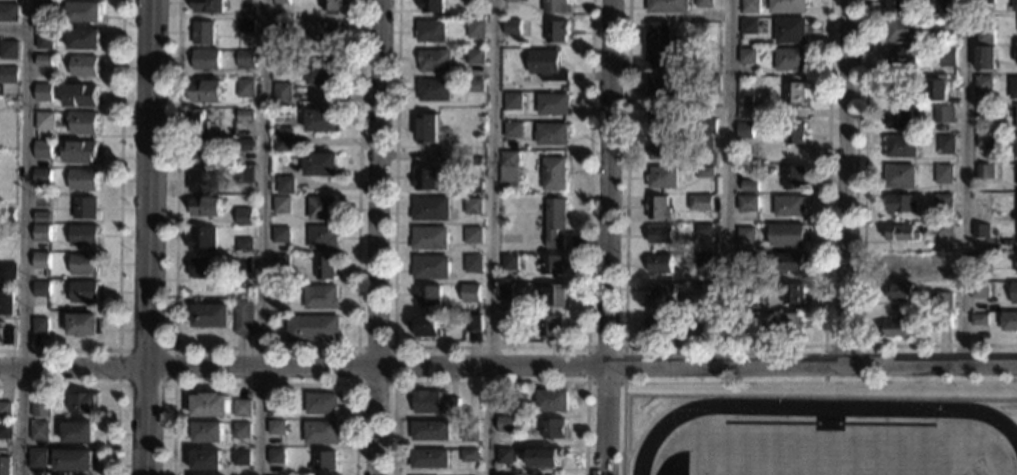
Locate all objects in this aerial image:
building: (515, 0)
building: (984, 1)
building: (282, 2)
building: (476, 2)
building: (247, 3)
building: (704, 3)
building: (431, 5)
building: (948, 5)
building: (1014, 5)
building: (210, 6)
building: (332, 6)
building: (556, 6)
building: (668, 6)
building: (751, 6)
building: (787, 6)
building: (900, 6)
building: (46, 9)
building: (9, 12)
building: (85, 12)
building: (947, 25)
building: (749, 26)
building: (247, 27)
building: (513, 27)
road: (14, 28)
building: (476, 29)
building: (283, 30)
building: (789, 30)
building: (905, 30)
building: (325, 31)
building: (431, 31)
building: (557, 31)
building: (204, 33)
building: (985, 36)
building: (45, 38)
building: (83, 40)
building: (660, 44)
building: (9, 50)
building: (476, 56)
building: (747, 56)
building: (947, 57)
building: (984, 57)
building: (1016, 57)
building: (902, 58)
building: (246, 59)
building: (789, 59)
building: (207, 60)
building: (45, 61)
building: (435, 61)
building: (547, 65)
building: (84, 66)
building: (324, 74)
building: (9, 75)
building: (710, 84)
building: (983, 85)
building: (476, 86)
building: (666, 87)
building: (246, 88)
building: (937, 88)
building: (1013, 88)
building: (434, 90)
building: (206, 91)
building: (794, 92)
building: (44, 93)
building: (282, 94)
building: (81, 95)
building: (745, 98)
building: (513, 101)
building: (554, 104)
building: (984, 110)
building: (750, 111)
building: (944, 114)
building: (1013, 115)
building: (245, 116)
building: (900, 118)
building: (196, 120)
building: (323, 120)
building: (45, 121)
building: (659, 121)
building: (82, 123)
building: (708, 126)
building: (429, 129)
building: (513, 130)
building: (750, 132)
building: (215, 133)
building: (552, 134)
building: (795, 134)
building: (284, 140)
building: (984, 142)
building: (703, 144)
building: (245, 145)
building: (945, 145)
building: (901, 146)
building: (664, 148)
building: (42, 150)
building: (202, 150)
building: (80, 152)
building: (322, 165)
building: (510, 166)
building: (704, 172)
building: (985, 172)
building: (554, 174)
building: (943, 174)
building: (244, 175)
building: (42, 177)
building: (663, 177)
building: (793, 177)
building: (899, 177)
building: (83, 179)
building: (427, 179)
road: (848, 179)
building: (204, 180)
road: (727, 180)
road: (964, 180)
building: (286, 185)
building: (505, 186)
building: (749, 186)
building: (475, 187)
building: (700, 202)
building: (942, 202)
building: (747, 204)
building: (901, 204)
building: (281, 205)
building: (474, 206)
building: (789, 206)
building: (206, 207)
building: (539, 207)
building: (84, 208)
building: (323, 208)
building: (658, 208)
building: (431, 209)
building: (7, 215)
building: (244, 216)
building: (42, 217)
building: (556, 223)
building: (704, 230)
building: (981, 230)
building: (940, 231)
building: (902, 232)
building: (41, 233)
road: (118, 233)
building: (787, 234)
building: (83, 235)
building: (281, 235)
building: (474, 235)
building: (660, 235)
road: (23, 237)
road: (146, 237)
road: (259, 237)
road: (379, 237)
road: (493, 237)
road: (610, 237)
building: (746, 237)
building: (202, 238)
building: (323, 238)
building: (430, 238)
building: (243, 246)
road: (862, 250)
building: (703, 260)
building: (747, 260)
building: (41, 262)
building: (510, 262)
building: (792, 262)
building: (980, 262)
building: (280, 263)
building: (474, 263)
building: (933, 263)
building: (83, 264)
building: (659, 264)
building: (244, 265)
building: (552, 265)
building: (431, 267)
building: (203, 268)
building: (326, 268)
building: (8, 271)
building: (41, 289)
building: (703, 289)
building: (980, 290)
building: (83, 291)
building: (278, 292)
building: (506, 292)
building: (901, 292)
building: (1014, 292)
building: (471, 293)
building: (793, 293)
building: (661, 294)
building: (429, 295)
building: (554, 296)
building: (320, 297)
building: (746, 299)
building: (943, 301)
building: (6, 302)
building: (211, 315)
building: (243, 316)
building: (979, 319)
building: (944, 320)
building: (1008, 321)
building: (474, 322)
building: (664, 323)
building: (83, 324)
building: (782, 324)
building: (426, 325)
building: (511, 325)
building: (551, 325)
building: (40, 327)
building: (904, 327)
building: (312, 328)
building: (6, 335)
road: (824, 345)
road: (723, 346)
road: (394, 347)
road: (490, 347)
road: (172, 348)
road: (265, 348)
road: (508, 362)
road: (587, 381)
road: (490, 382)
road: (264, 383)
road: (773, 383)
road: (103, 385)
building: (552, 401)
building: (83, 403)
building: (320, 403)
building: (434, 403)
building: (209, 405)
building: (274, 406)
building: (242, 408)
building: (41, 409)
building: (6, 411)
building: (506, 424)
building: (276, 428)
building: (555, 429)
building: (6, 430)
building: (241, 430)
building: (39, 431)
building: (431, 431)
building: (78, 433)
building: (207, 433)
building: (320, 433)
building: (470, 433)
park: (834, 451)
building: (470, 455)
building: (275, 456)
building: (506, 457)
building: (545, 457)
building: (37, 458)
building: (241, 458)
building: (429, 459)
building: (73, 460)
building: (206, 461)
building: (324, 461)
building: (5, 466)

